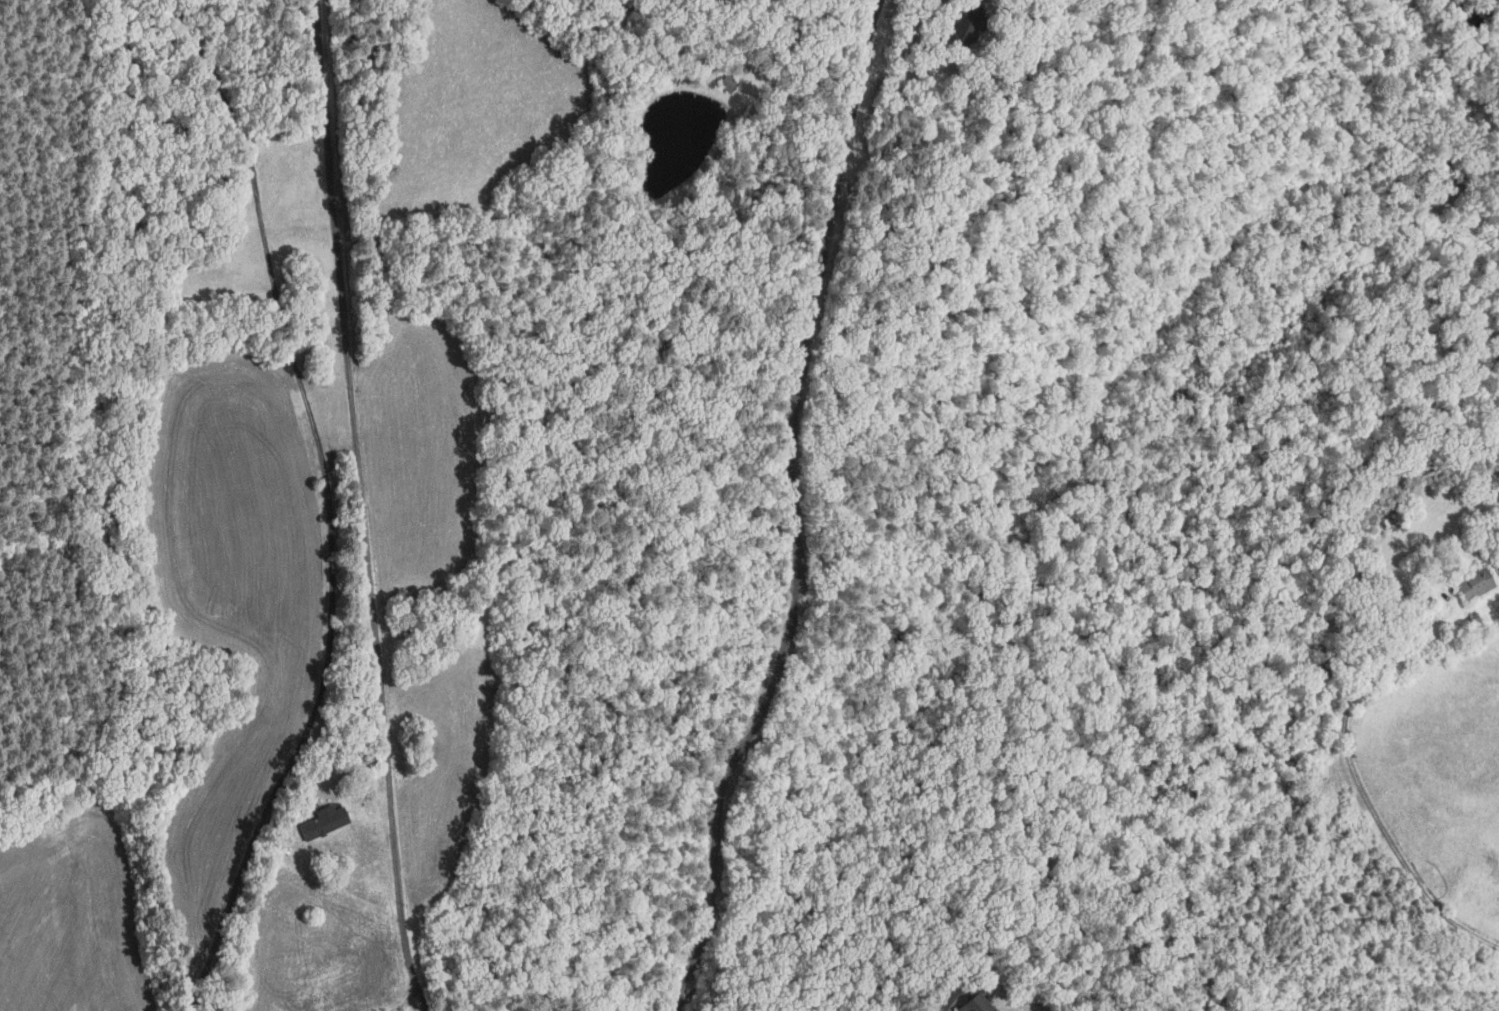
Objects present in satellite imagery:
building: (961, 26)
building: (726, 83)
road: (330, 504)
road: (361, 507)
road: (793, 511)
building: (1494, 569)
building: (1473, 582)
building: (357, 748)
building: (364, 762)
road: (1364, 795)
building: (358, 797)
building: (305, 808)
building: (324, 824)
building: (282, 844)
road: (948, 999)
building: (976, 1004)

